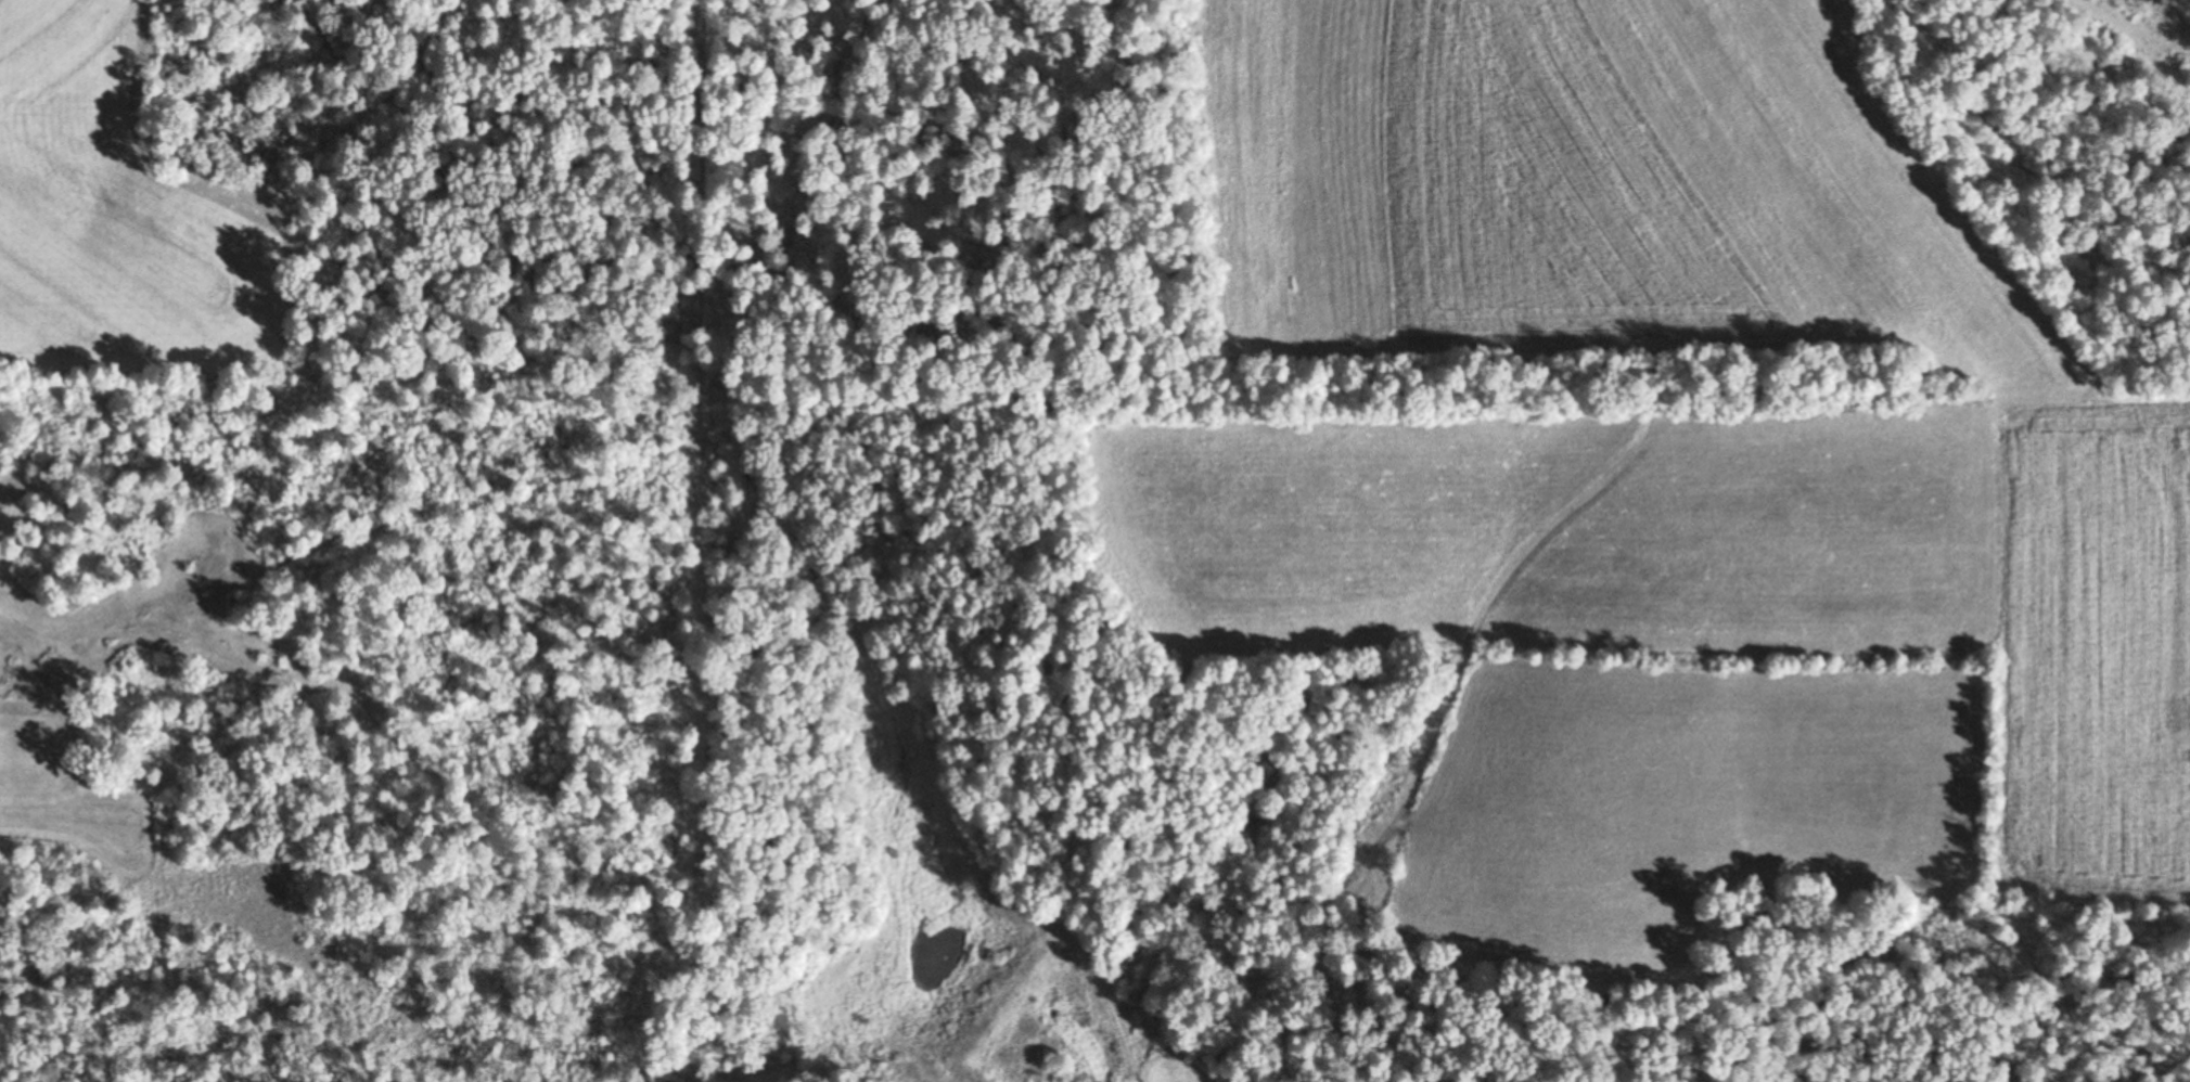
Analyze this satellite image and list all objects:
crop: (1586, 186)
crop: (124, 210)
crop: (1560, 526)
crop: (2088, 647)
crop: (1669, 804)
crop: (185, 865)
dam: (973, 991)

